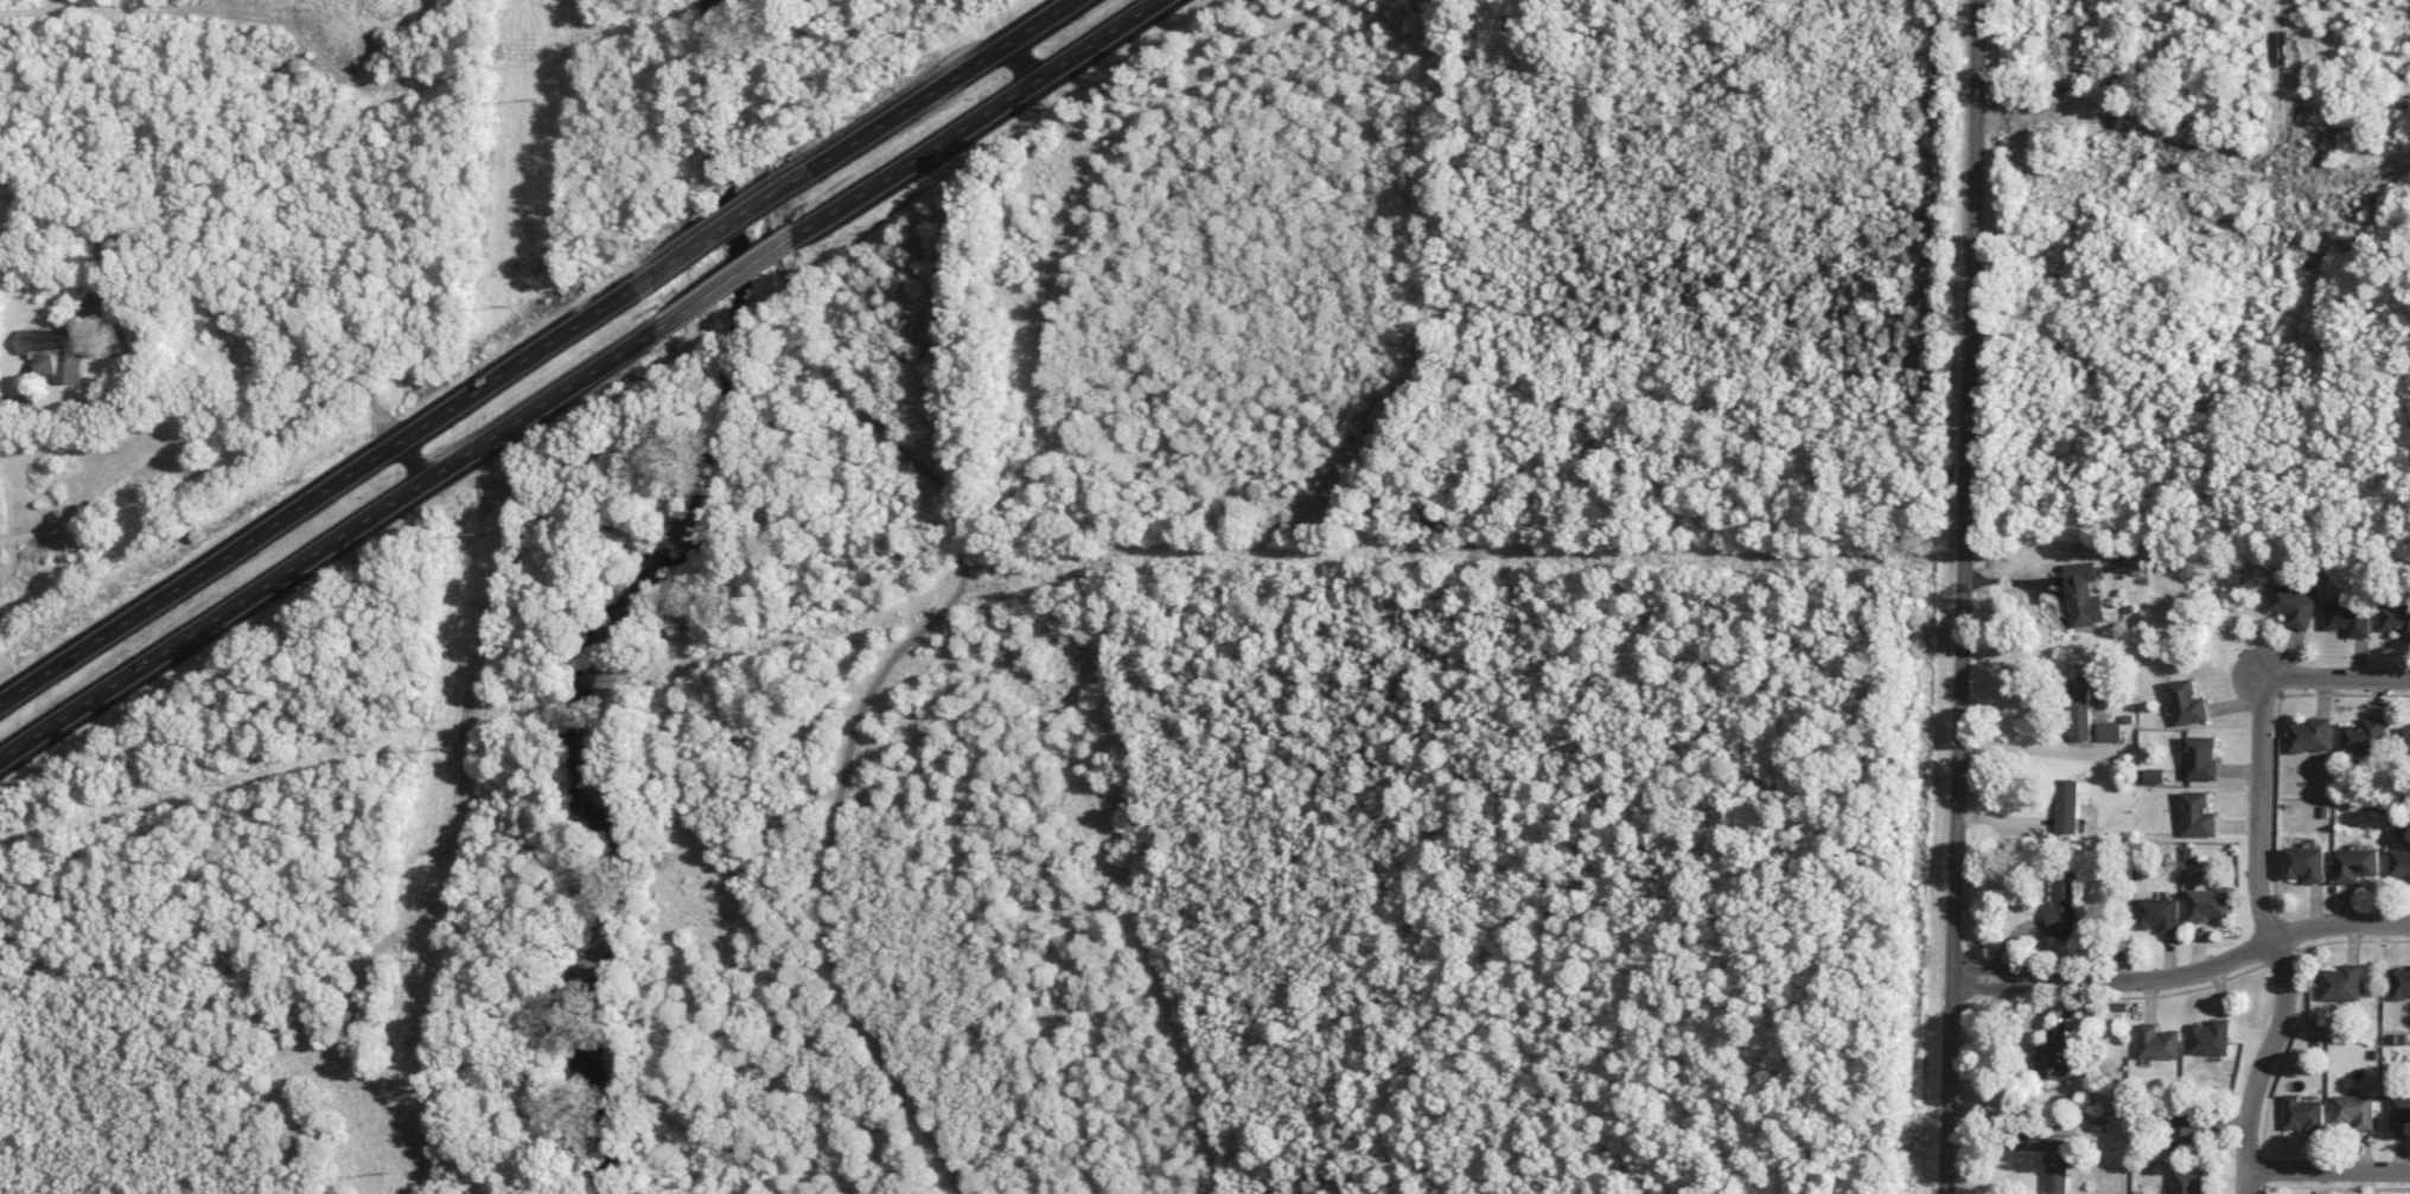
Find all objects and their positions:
road: (202, 12)
road: (2148, 66)
road: (929, 91)
road: (980, 119)
road: (2191, 153)
road: (713, 236)
road: (145, 237)
road: (727, 283)
power tower: (505, 304)
building: (52, 352)
road: (410, 464)
road: (318, 497)
power tower: (476, 530)
road: (327, 545)
road: (962, 573)
building: (2081, 594)
road: (1962, 596)
building: (2295, 606)
river: (619, 608)
building: (2396, 618)
building: (2350, 619)
road: (2334, 678)
building: (2186, 702)
building: (2078, 714)
building: (2108, 732)
building: (2309, 734)
building: (2364, 735)
building: (2404, 739)
building: (2200, 758)
building: (2065, 805)
building: (2197, 815)
building: (2399, 862)
building: (2304, 863)
building: (2354, 864)
building: (2207, 902)
building: (2062, 905)
building: (2159, 914)
road: (2270, 938)
road: (2186, 978)
building: (2399, 982)
building: (2341, 983)
building: (2211, 1037)
building: (2157, 1042)
building: (2055, 1055)
building: (2354, 1110)
building: (2302, 1113)
building: (2399, 1113)
building: (2187, 1134)
building: (2060, 1163)
road: (2328, 1174)
building: (2187, 1181)

